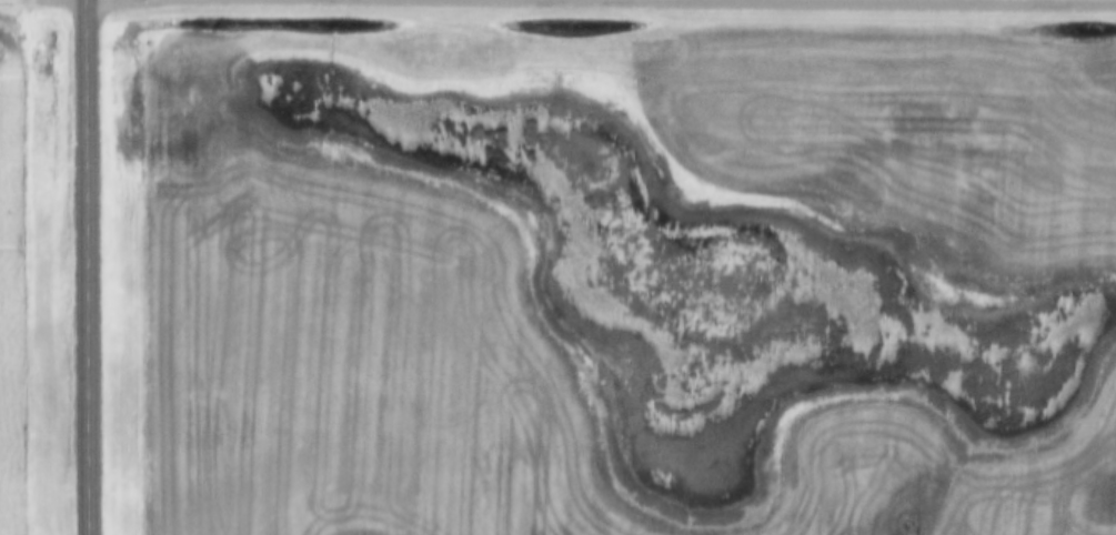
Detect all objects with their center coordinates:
road: (32, 1)
road: (670, 2)
road: (87, 267)

